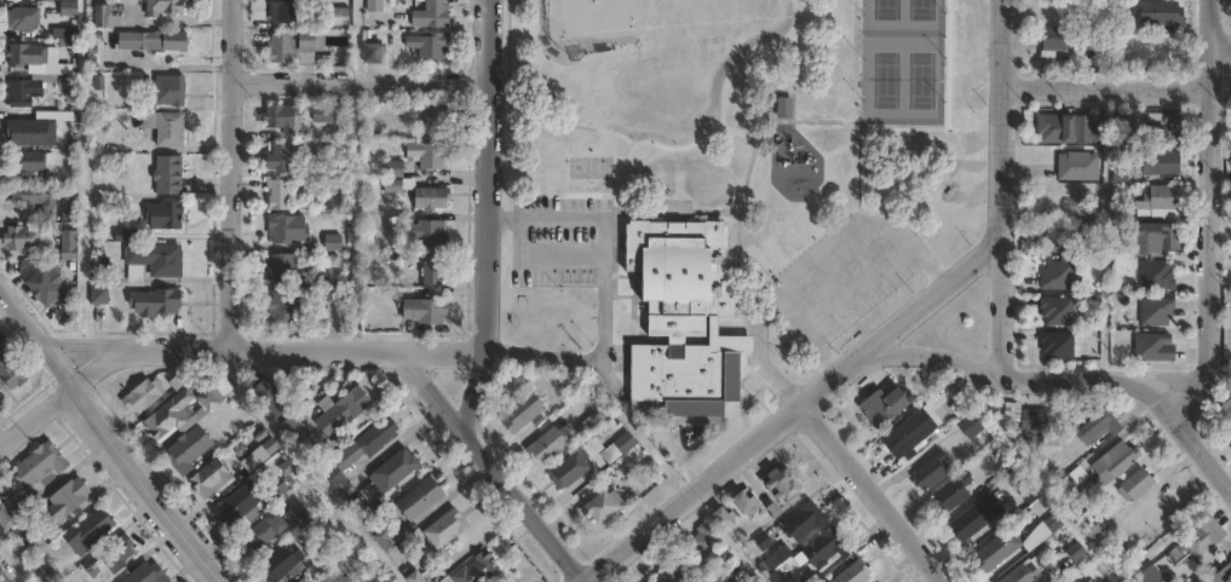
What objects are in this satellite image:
building: (68, 6)
building: (167, 7)
building: (286, 11)
building: (1157, 12)
building: (432, 16)
building: (105, 17)
building: (330, 17)
building: (25, 19)
park: (597, 22)
building: (1064, 40)
building: (156, 42)
road: (1221, 42)
building: (430, 46)
building: (299, 50)
building: (1168, 52)
building: (374, 54)
building: (35, 56)
park: (901, 60)
road: (359, 80)
road: (1106, 87)
building: (30, 88)
building: (173, 91)
building: (782, 105)
road: (951, 106)
building: (328, 113)
building: (283, 116)
building: (428, 117)
building: (1123, 121)
building: (1162, 125)
building: (168, 127)
building: (1053, 127)
building: (36, 129)
building: (1083, 129)
road: (632, 136)
building: (1229, 145)
building: (428, 154)
building: (280, 156)
building: (33, 160)
building: (1158, 162)
building: (1076, 166)
building: (392, 167)
park: (589, 167)
building: (1230, 167)
road: (726, 169)
building: (1118, 171)
building: (169, 174)
road: (226, 174)
road: (858, 178)
building: (398, 184)
road: (1000, 186)
park: (729, 190)
road: (1213, 192)
building: (38, 194)
building: (278, 194)
building: (432, 197)
building: (1120, 200)
building: (1158, 201)
building: (167, 214)
road: (485, 218)
building: (288, 229)
road: (737, 230)
building: (430, 234)
building: (127, 235)
building: (25, 237)
building: (1151, 237)
road: (614, 240)
parking lot: (560, 241)
building: (333, 242)
building: (71, 247)
road: (602, 253)
road: (543, 259)
building: (155, 260)
building: (281, 269)
building: (432, 271)
road: (812, 272)
building: (1047, 272)
parking lot: (844, 273)
road: (634, 275)
building: (1156, 276)
building: (46, 280)
road: (858, 288)
building: (103, 294)
building: (157, 301)
building: (284, 307)
building: (427, 310)
building: (683, 311)
building: (1055, 311)
building: (1155, 311)
building: (318, 319)
road: (810, 336)
road: (784, 344)
building: (1055, 345)
building: (1151, 347)
road: (323, 350)
building: (15, 370)
road: (1035, 379)
building: (218, 393)
building: (146, 394)
building: (1, 397)
building: (276, 397)
building: (1224, 403)
building: (880, 407)
building: (345, 411)
building: (527, 411)
road: (793, 413)
road: (35, 414)
building: (177, 415)
building: (1032, 420)
building: (592, 425)
building: (1094, 426)
building: (968, 427)
building: (301, 428)
building: (905, 434)
road: (113, 437)
building: (370, 442)
building: (556, 443)
road: (1193, 443)
building: (621, 448)
building: (190, 449)
building: (261, 454)
building: (1112, 461)
building: (41, 462)
road: (309, 467)
road: (489, 468)
building: (574, 468)
building: (928, 472)
building: (392, 474)
building: (213, 479)
building: (343, 484)
building: (1065, 485)
building: (1133, 485)
building: (777, 488)
building: (949, 494)
building: (1026, 494)
road: (870, 495)
building: (67, 497)
building: (424, 499)
building: (248, 503)
building: (606, 505)
building: (740, 505)
building: (11, 508)
building: (305, 515)
building: (720, 518)
building: (799, 522)
building: (968, 522)
building: (449, 529)
building: (90, 530)
building: (268, 530)
building: (1099, 534)
building: (386, 540)
building: (701, 540)
building: (1196, 541)
building: (0, 542)
building: (1016, 543)
building: (29, 544)
building: (822, 548)
building: (119, 552)
building: (0, 555)
building: (776, 557)
building: (284, 564)
building: (479, 569)
building: (851, 572)
building: (146, 574)
building: (1220, 574)
building: (1019, 575)
building: (1149, 575)
building: (416, 576)
building: (666, 576)
building: (4, 577)
building: (776, 577)
building: (307, 578)
building: (718, 581)
building: (736, 581)
building: (1087, 581)
building: (1196, 581)

